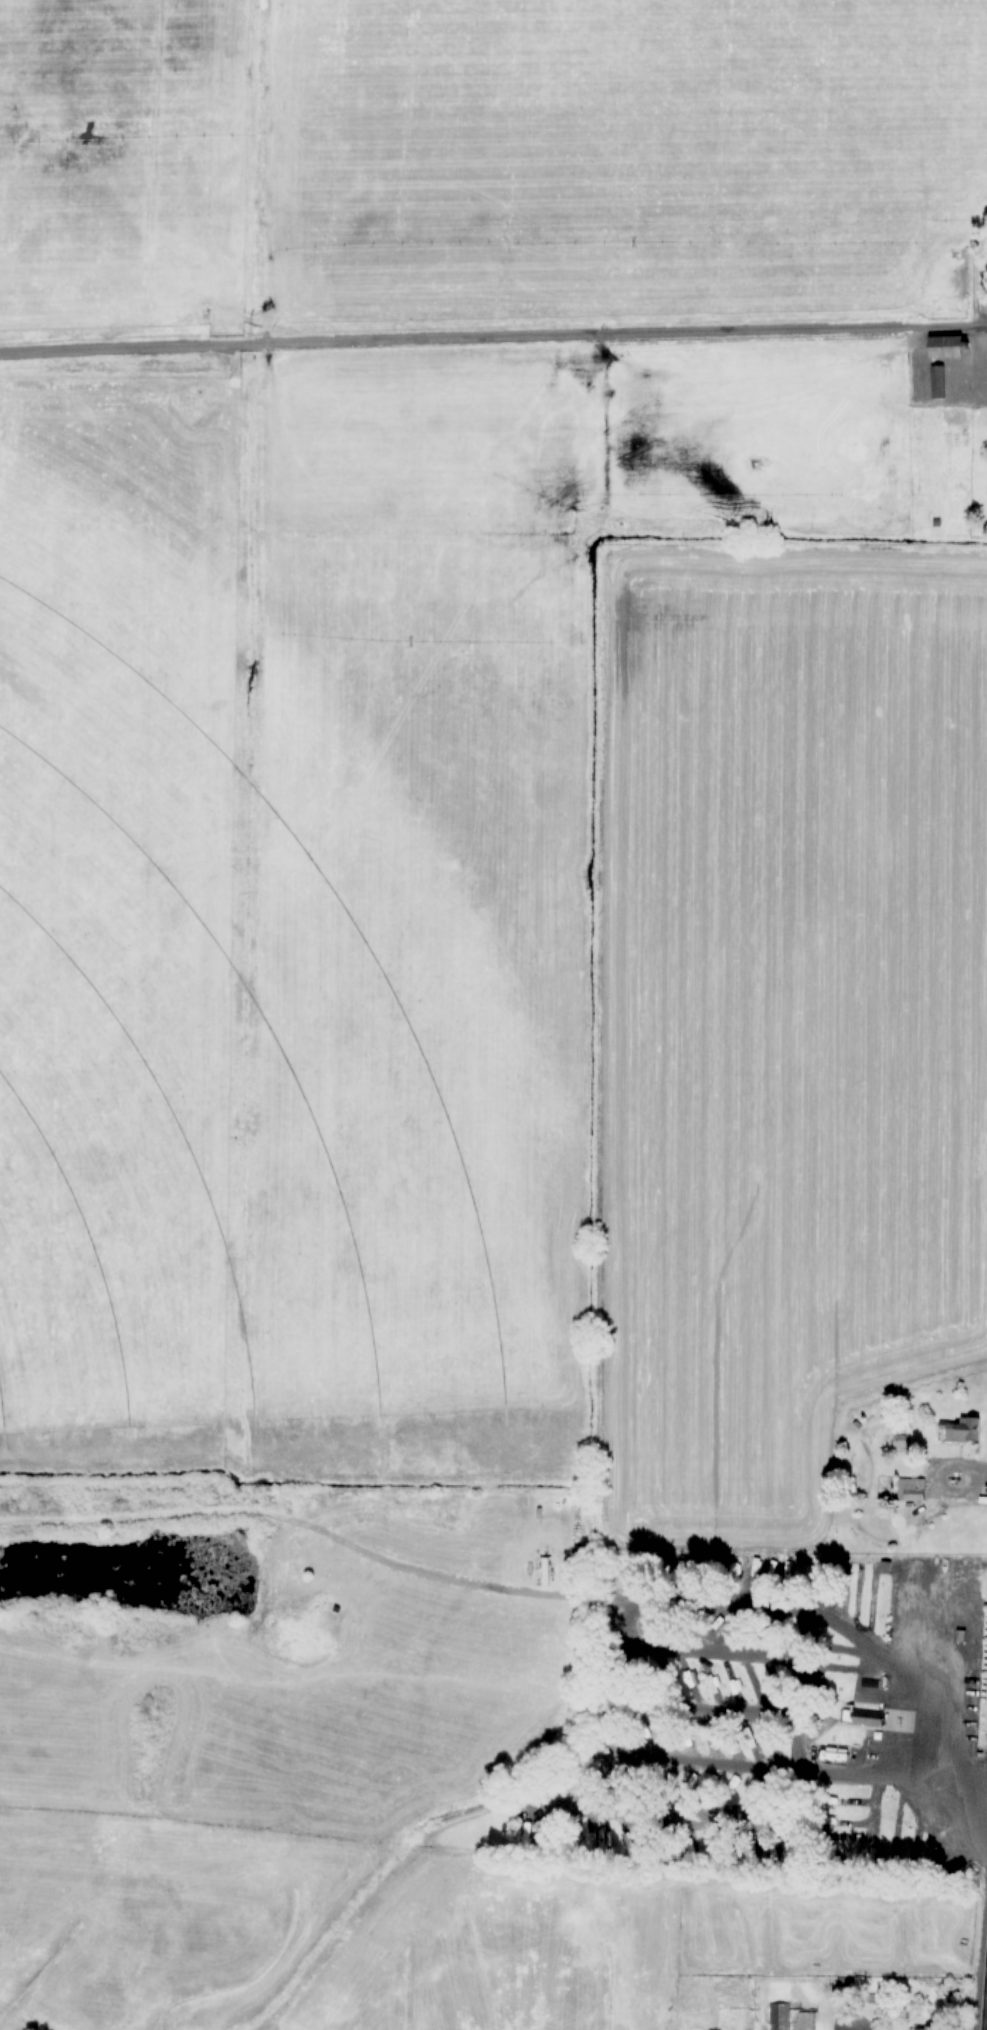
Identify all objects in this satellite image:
road: (493, 336)
building: (947, 347)
building: (922, 379)
crop: (778, 1021)
building: (961, 1431)
building: (941, 1434)
building: (911, 1489)
road: (194, 1517)
building: (545, 1572)
road: (579, 1601)
road: (837, 1641)
building: (710, 1675)
road: (224, 1683)
building: (733, 1684)
building: (867, 1716)
building: (851, 1719)
building: (669, 1735)
road: (732, 1775)
building: (525, 1836)
road: (980, 1933)
building: (762, 2017)
building: (785, 2022)
building: (924, 2028)
road: (821, 2029)

